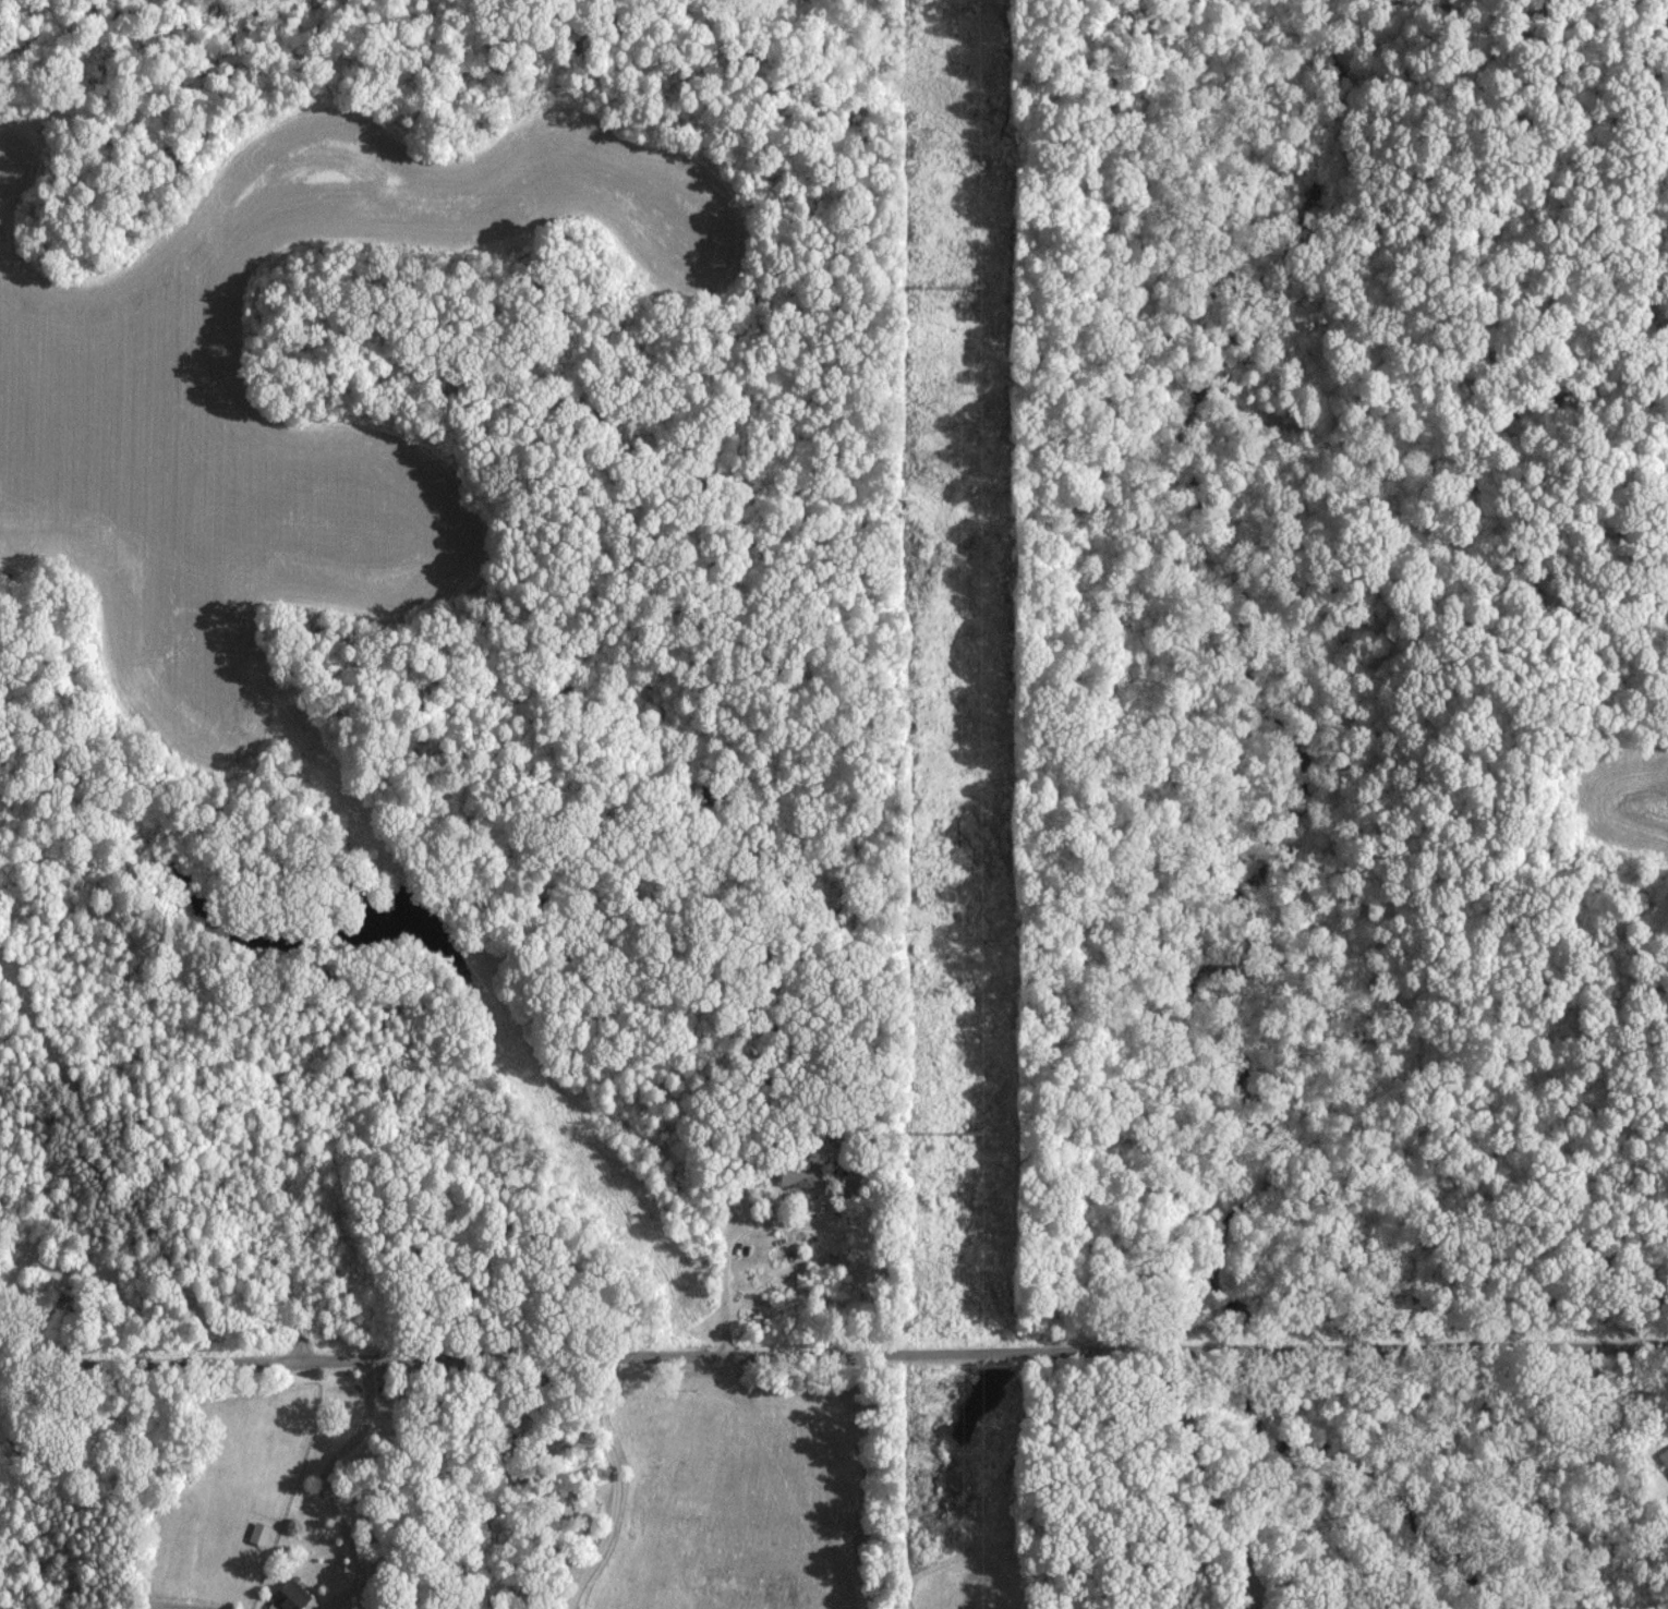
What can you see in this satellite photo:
power tower: (965, 288)
power tower: (963, 1136)
building: (797, 1175)
road: (725, 1247)
road: (833, 1353)
building: (1664, 1456)
road: (618, 1484)
road: (327, 1487)
building: (262, 1534)
building: (291, 1597)

